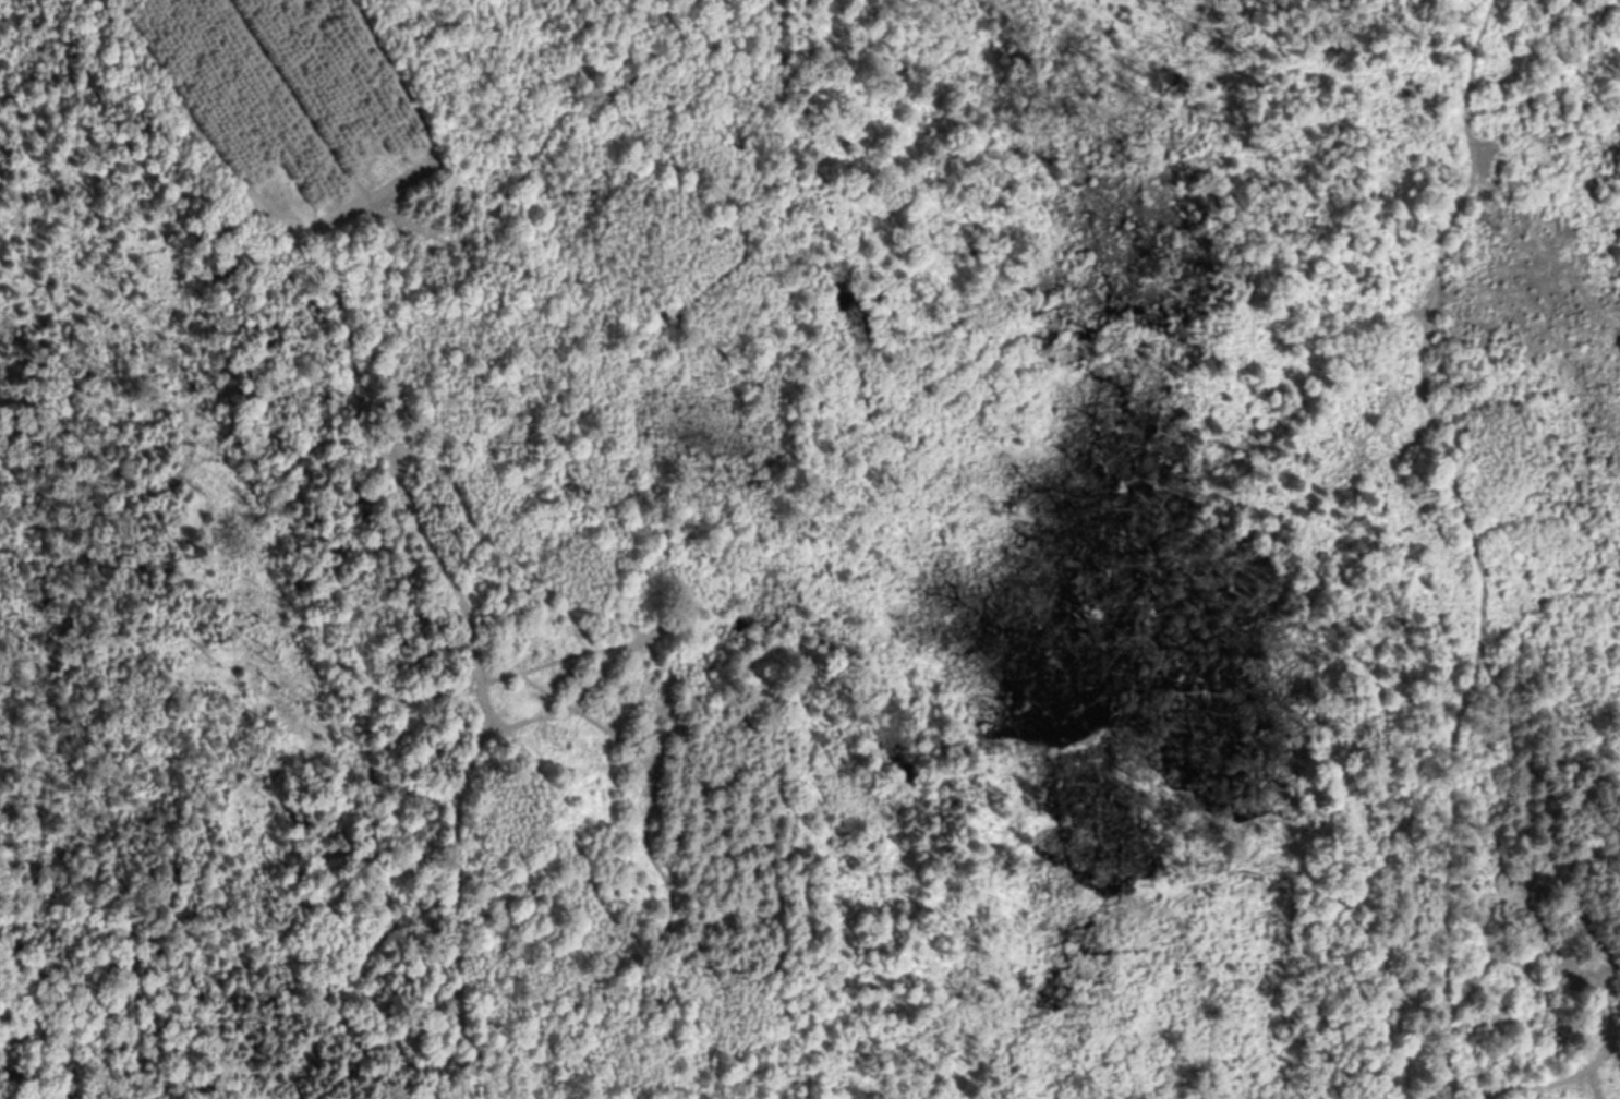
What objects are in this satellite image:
building: (1572, 971)

